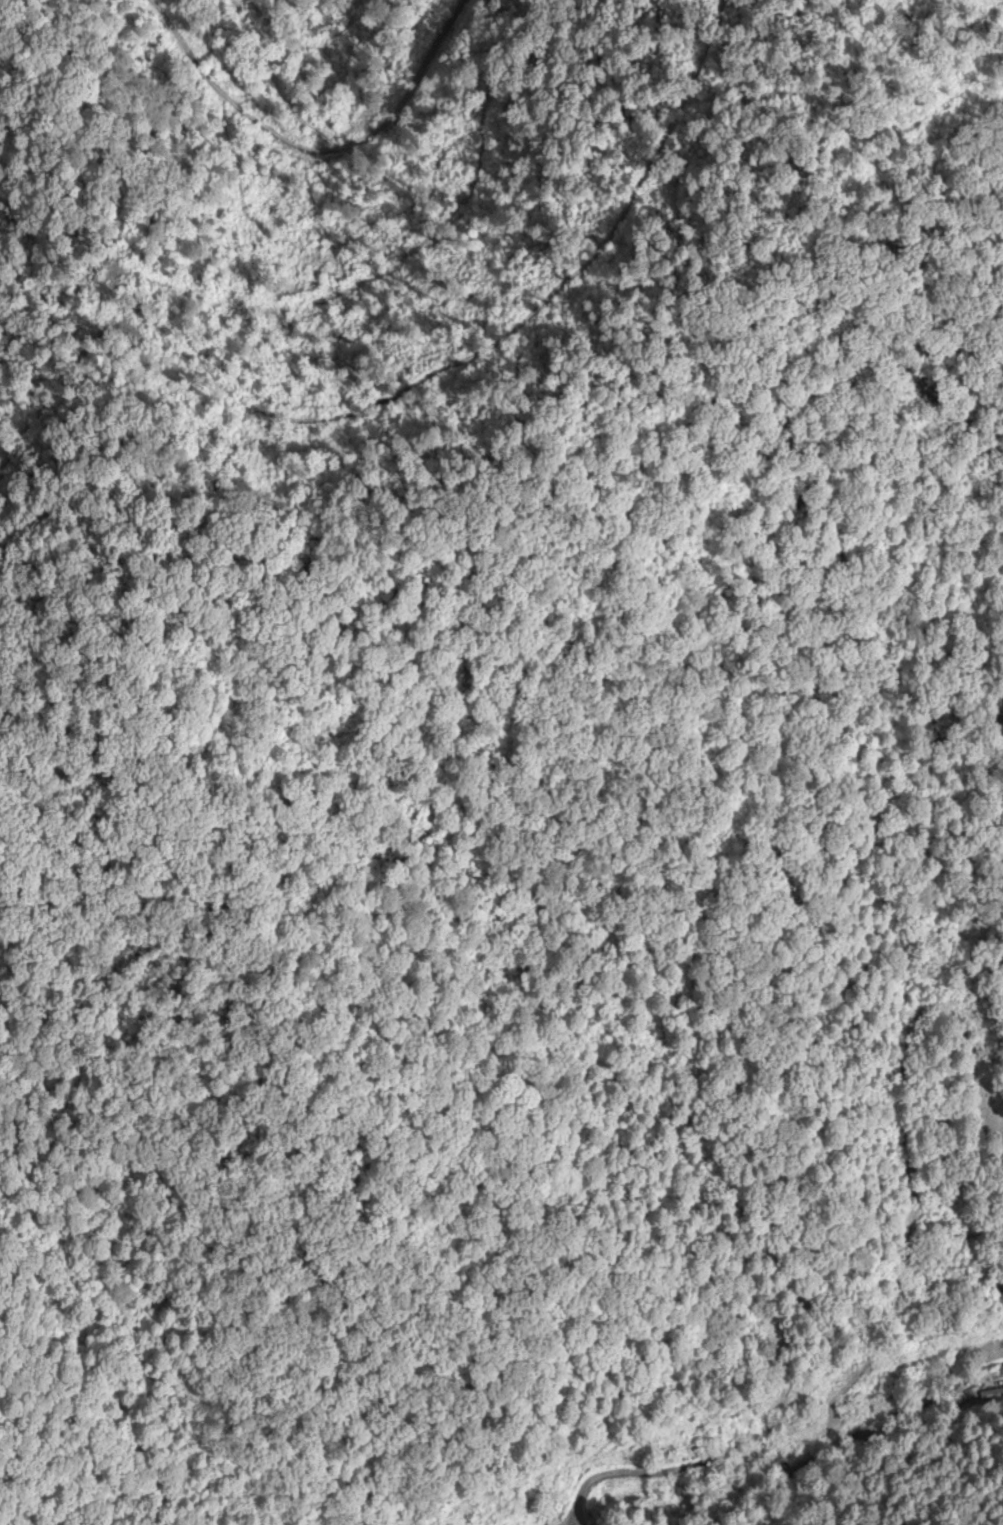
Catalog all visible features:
road: (777, 1451)

